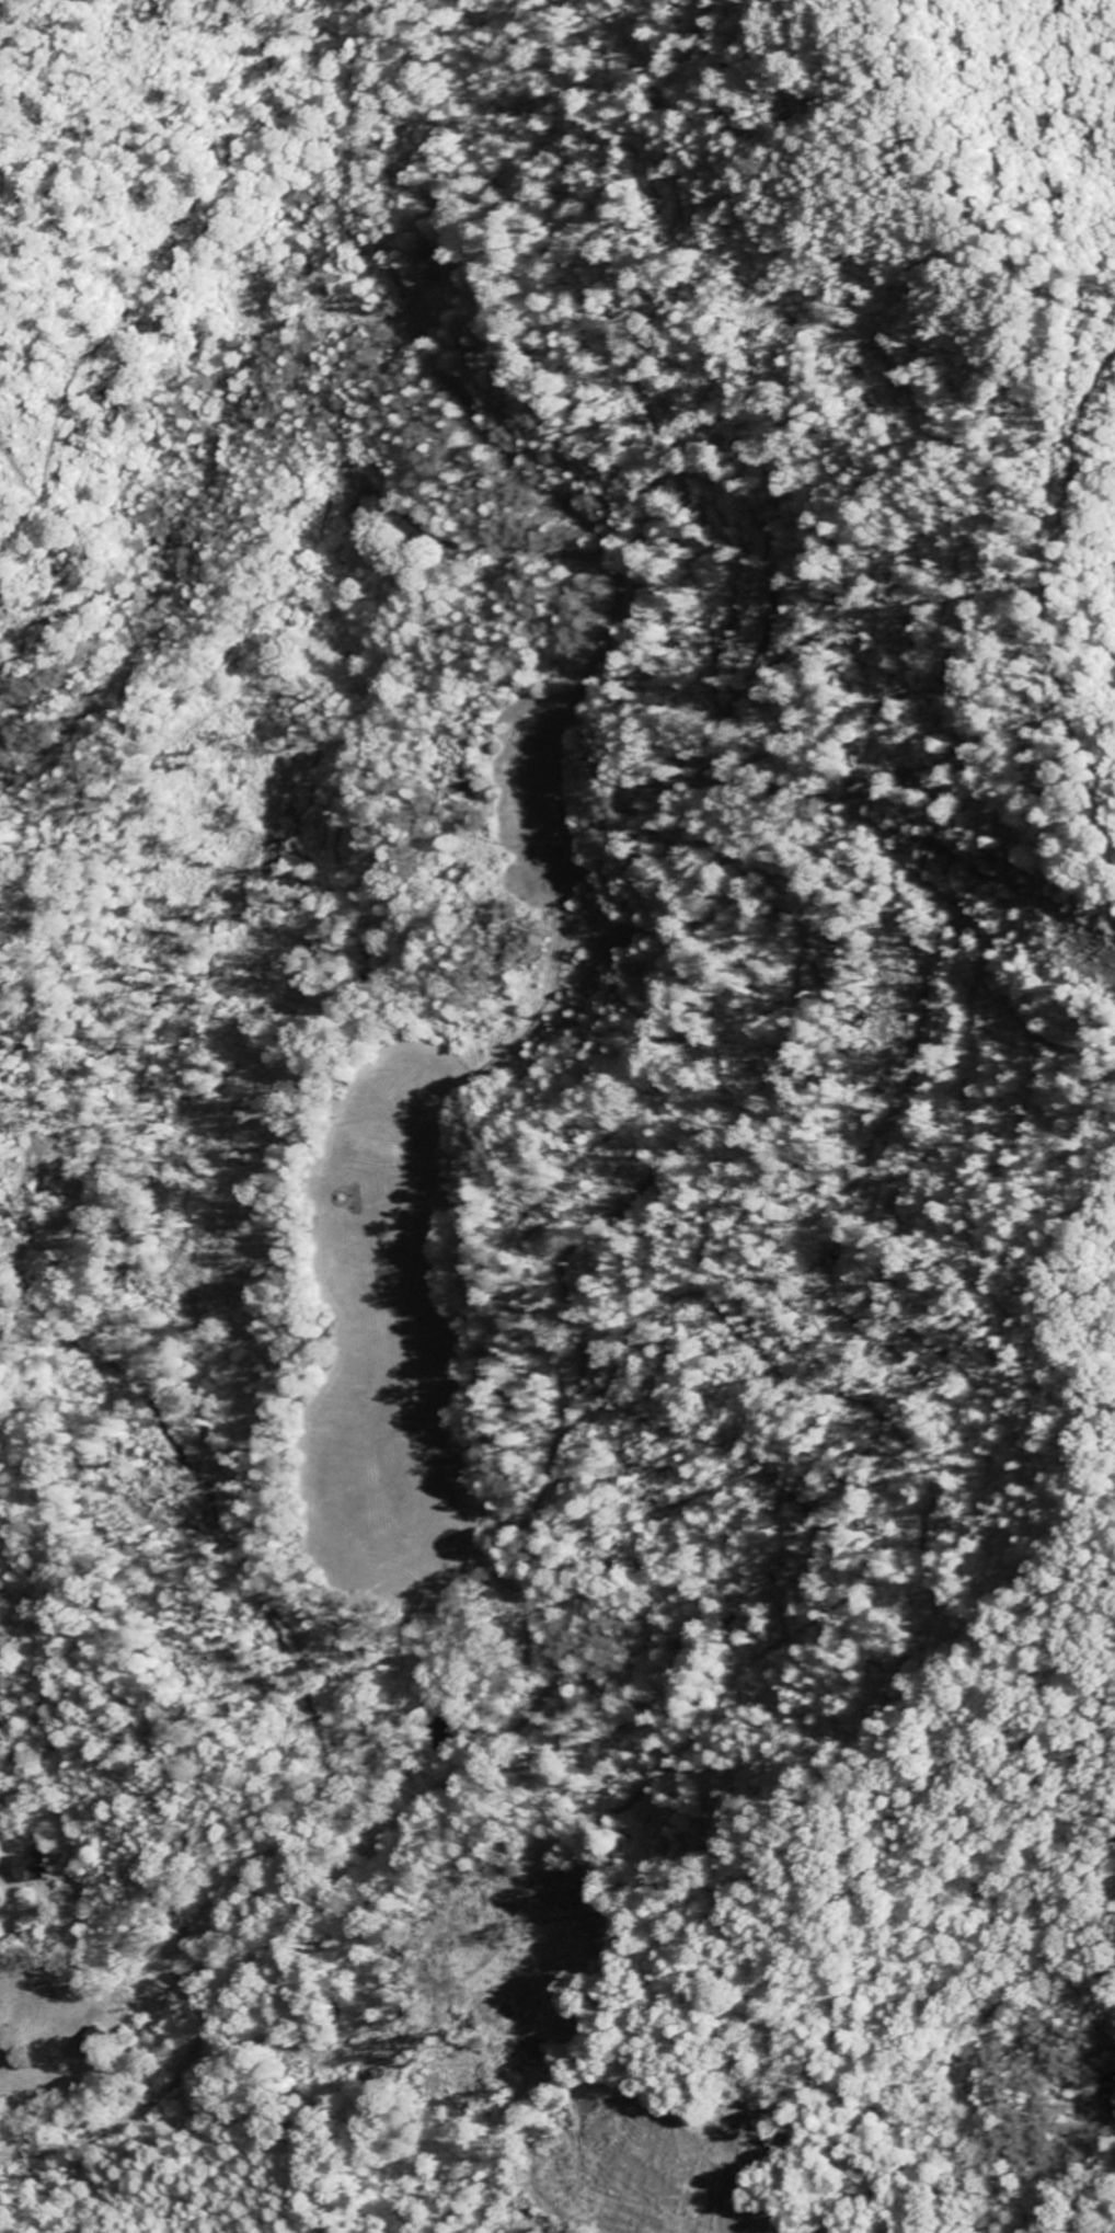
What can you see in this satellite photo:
building: (33, 1867)
road: (263, 1928)
road: (42, 1955)
building: (101, 2041)

